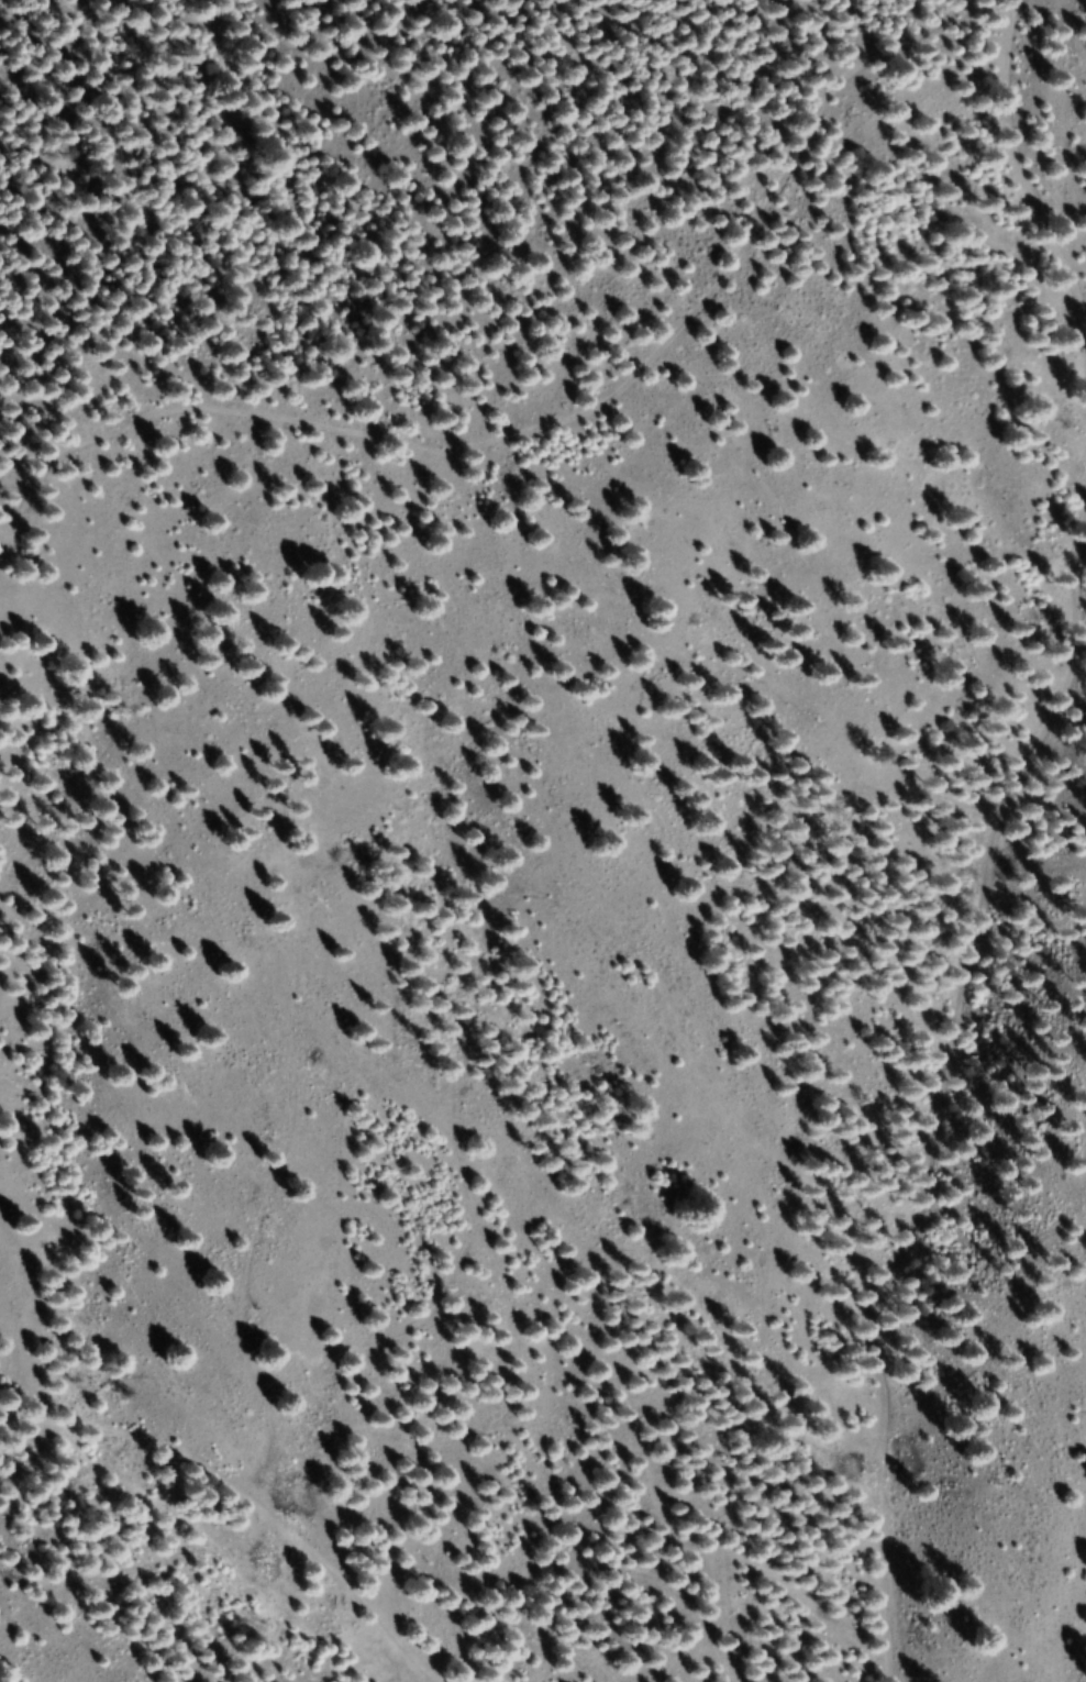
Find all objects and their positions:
road: (1075, 10)
road: (1030, 259)
road: (902, 1191)

